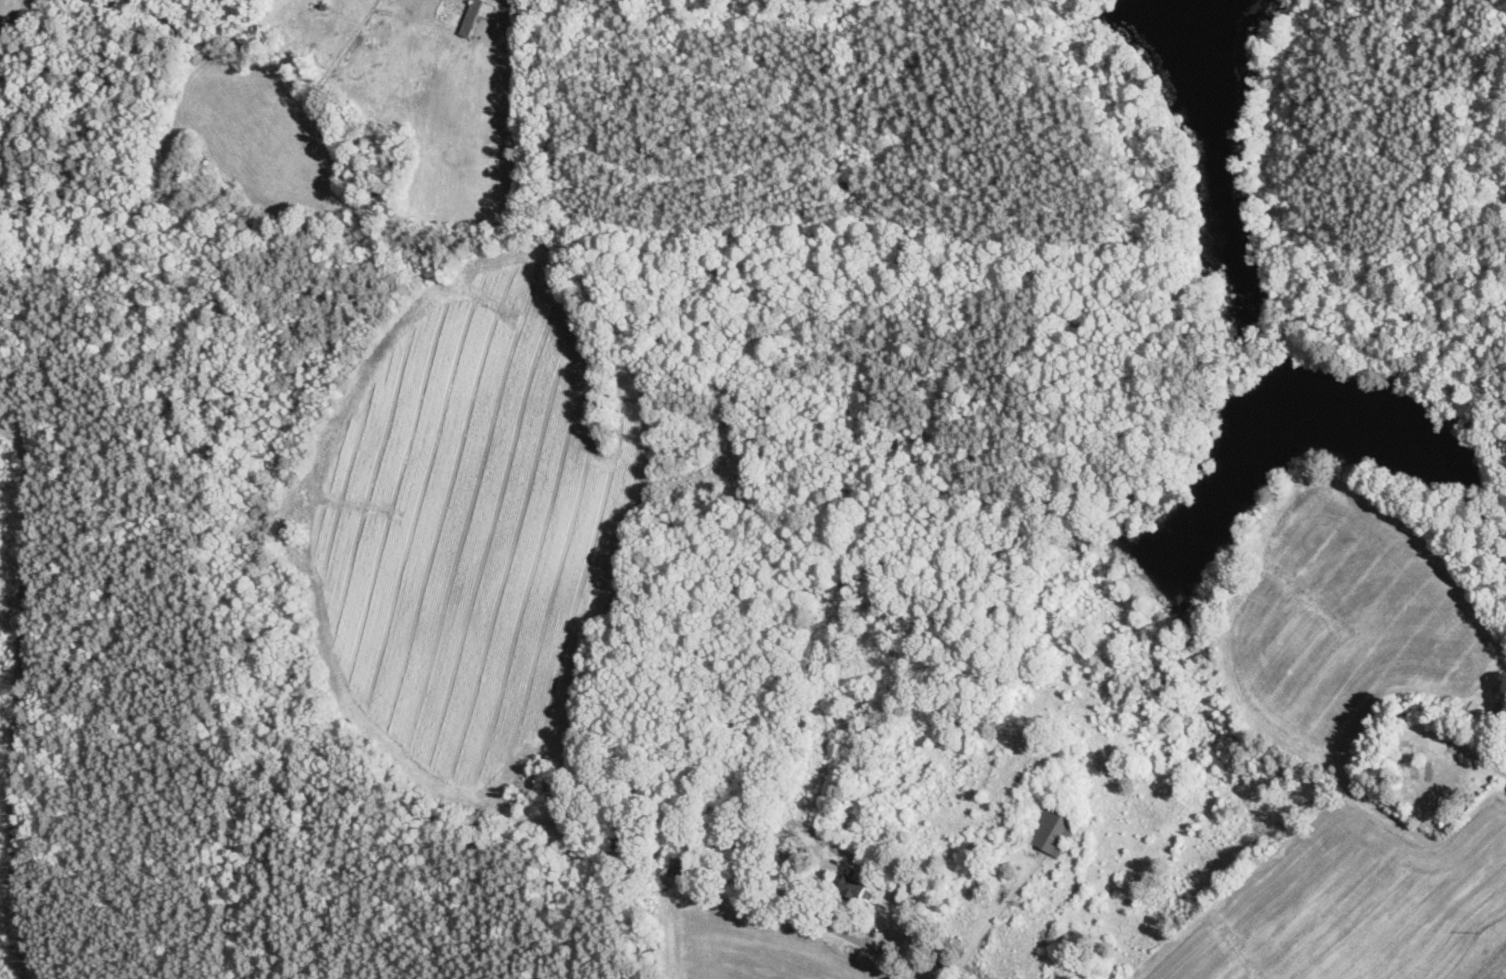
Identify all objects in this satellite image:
building: (472, 18)
building: (1052, 833)
building: (851, 889)

